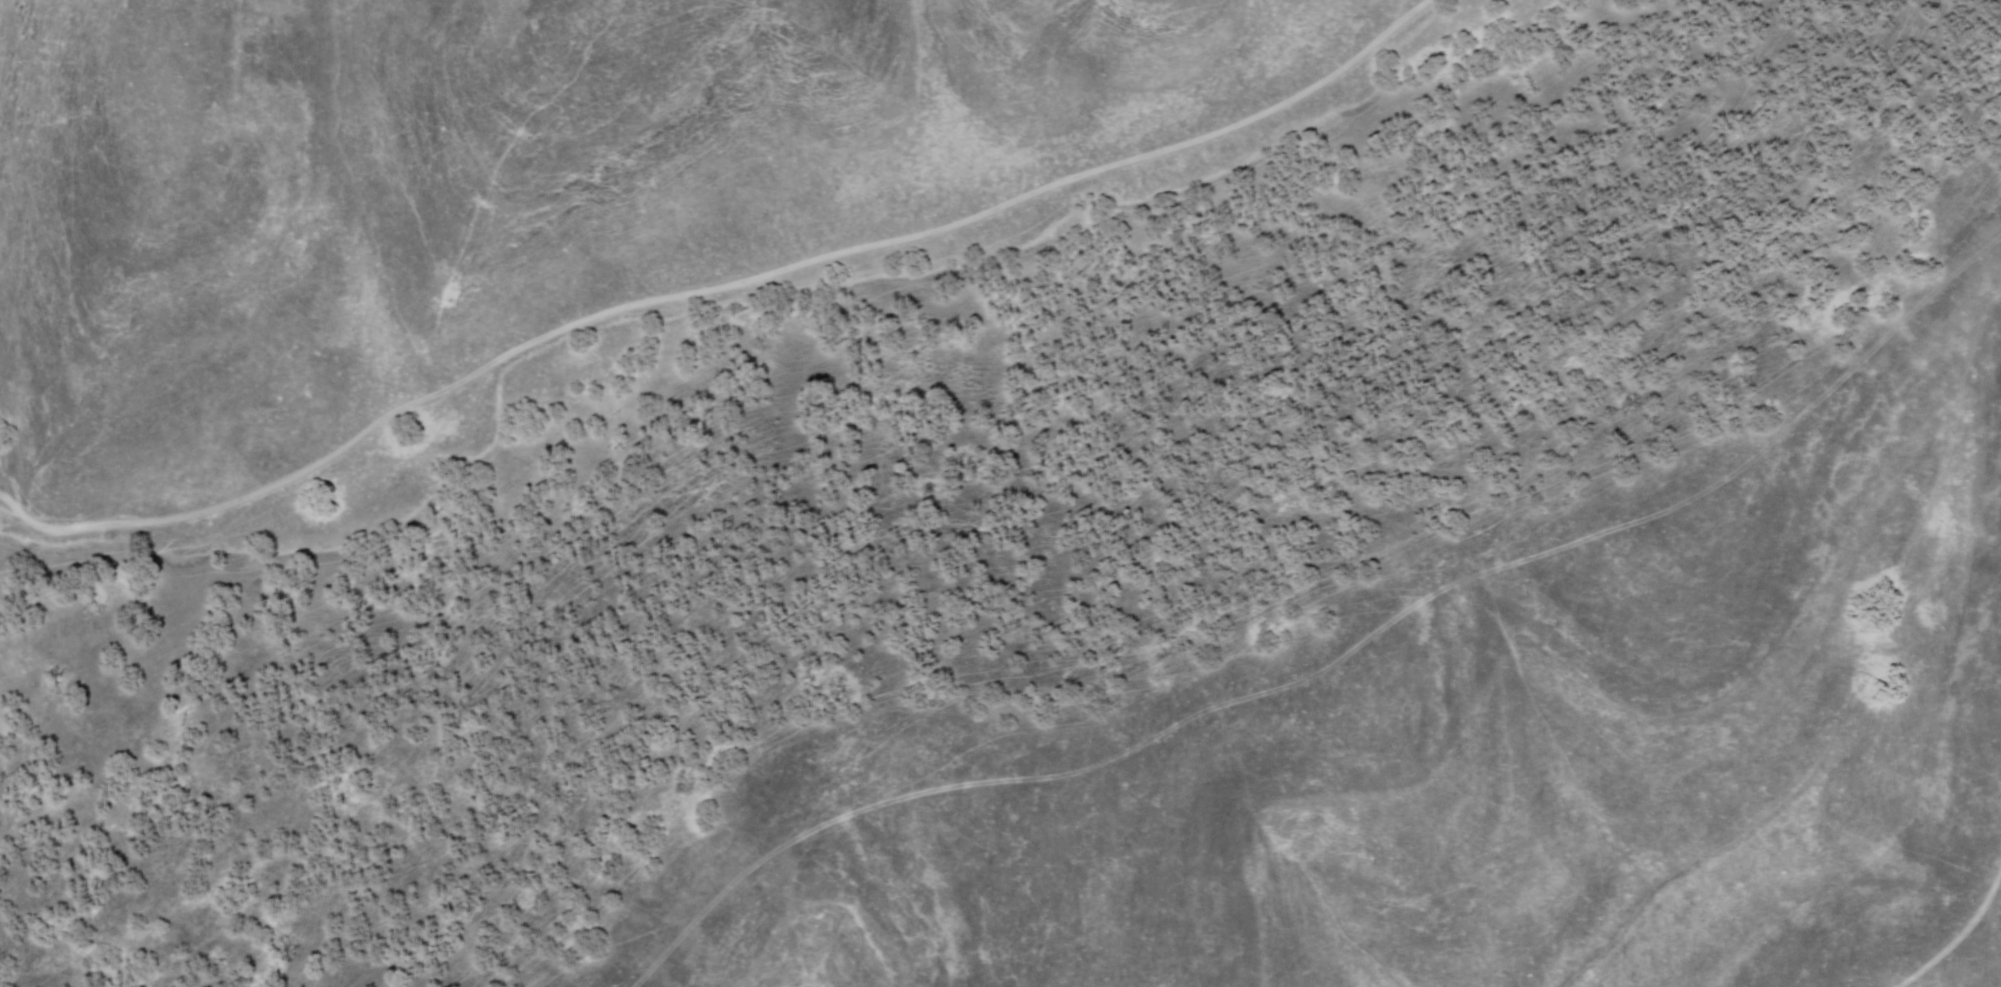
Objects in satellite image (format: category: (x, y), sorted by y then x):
road: (710, 288)

